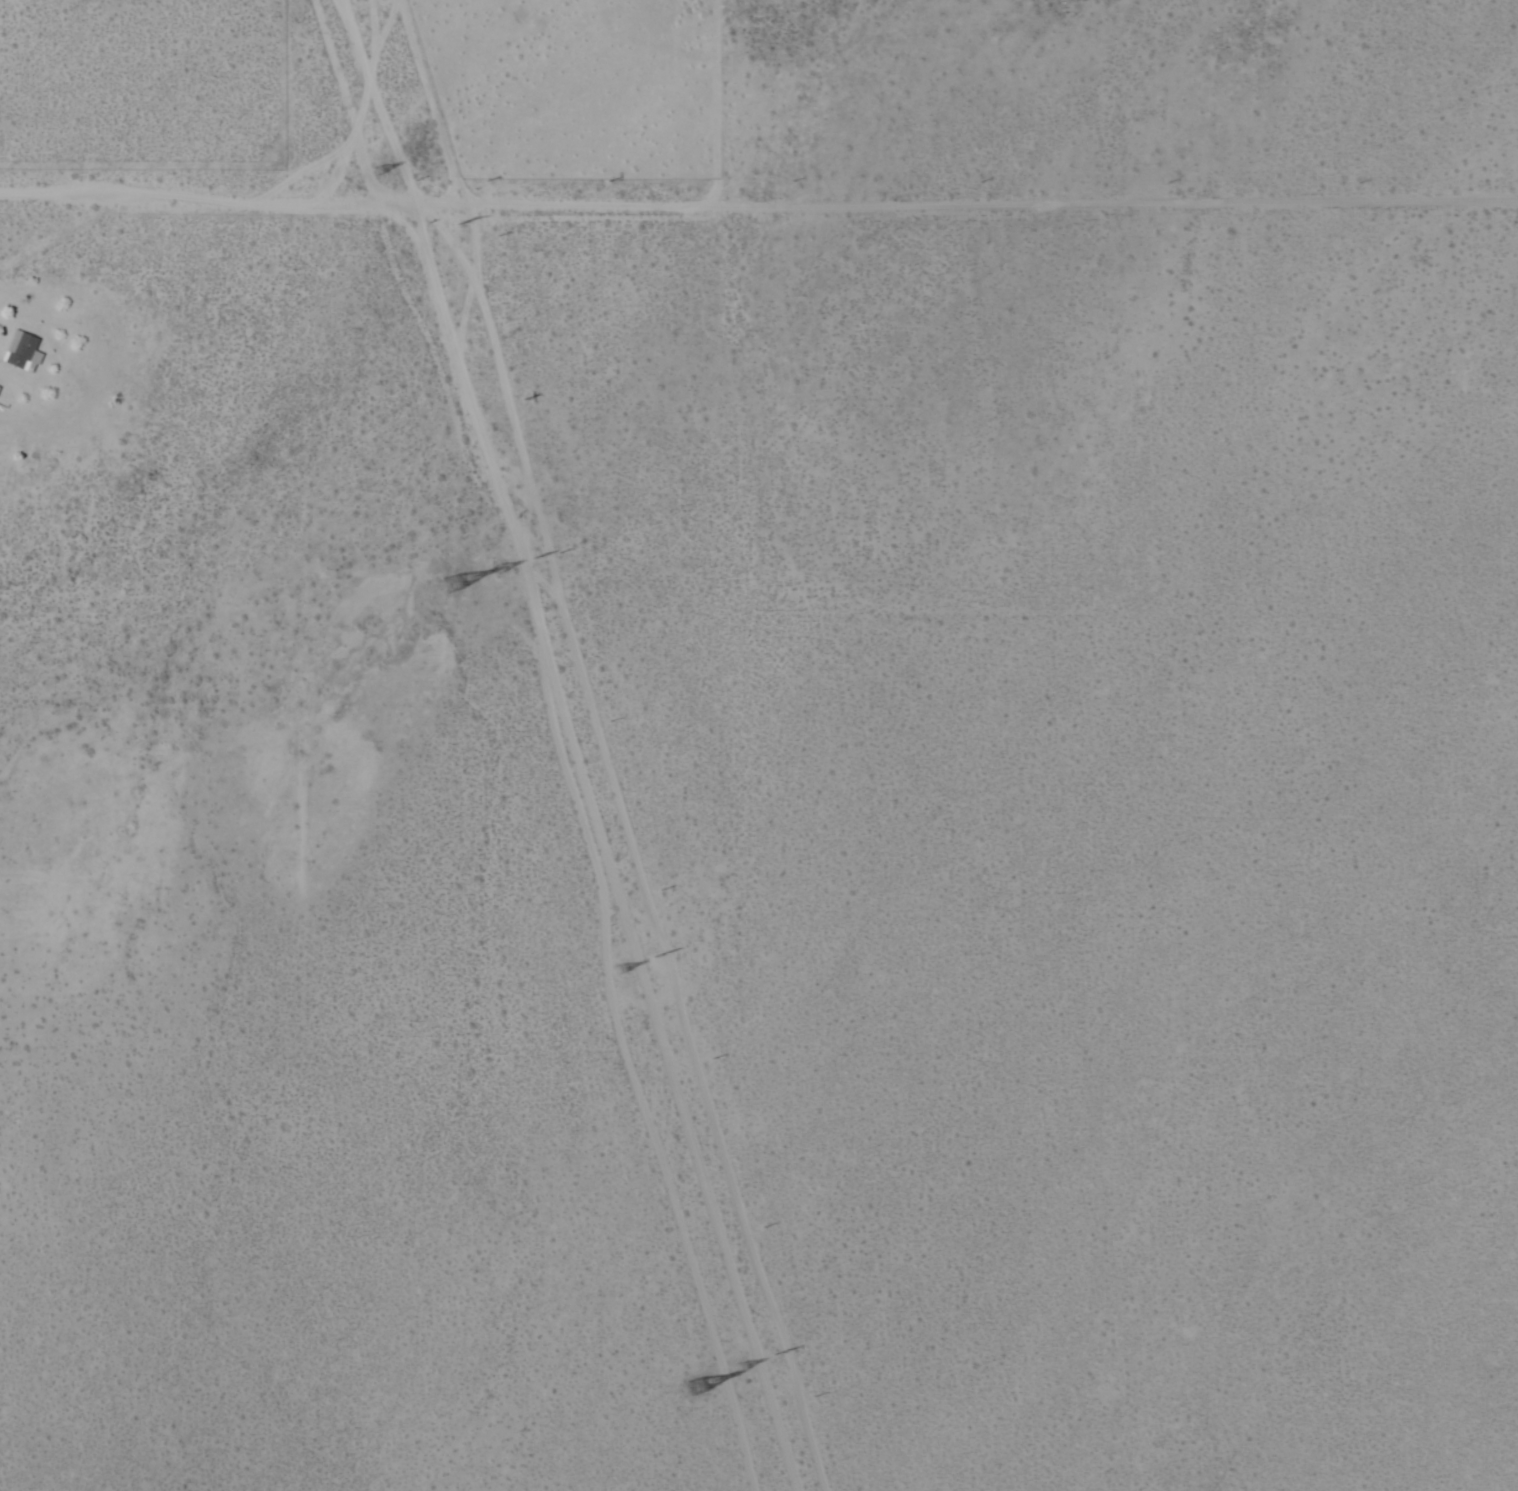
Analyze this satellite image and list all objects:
power tower: (383, 170)
road: (758, 207)
power tower: (464, 230)
building: (22, 352)
power tower: (541, 559)
power tower: (500, 570)
power tower: (453, 583)
power tower: (661, 959)
power tower: (620, 973)
power tower: (780, 1357)
power tower: (737, 1369)
power tower: (698, 1386)

